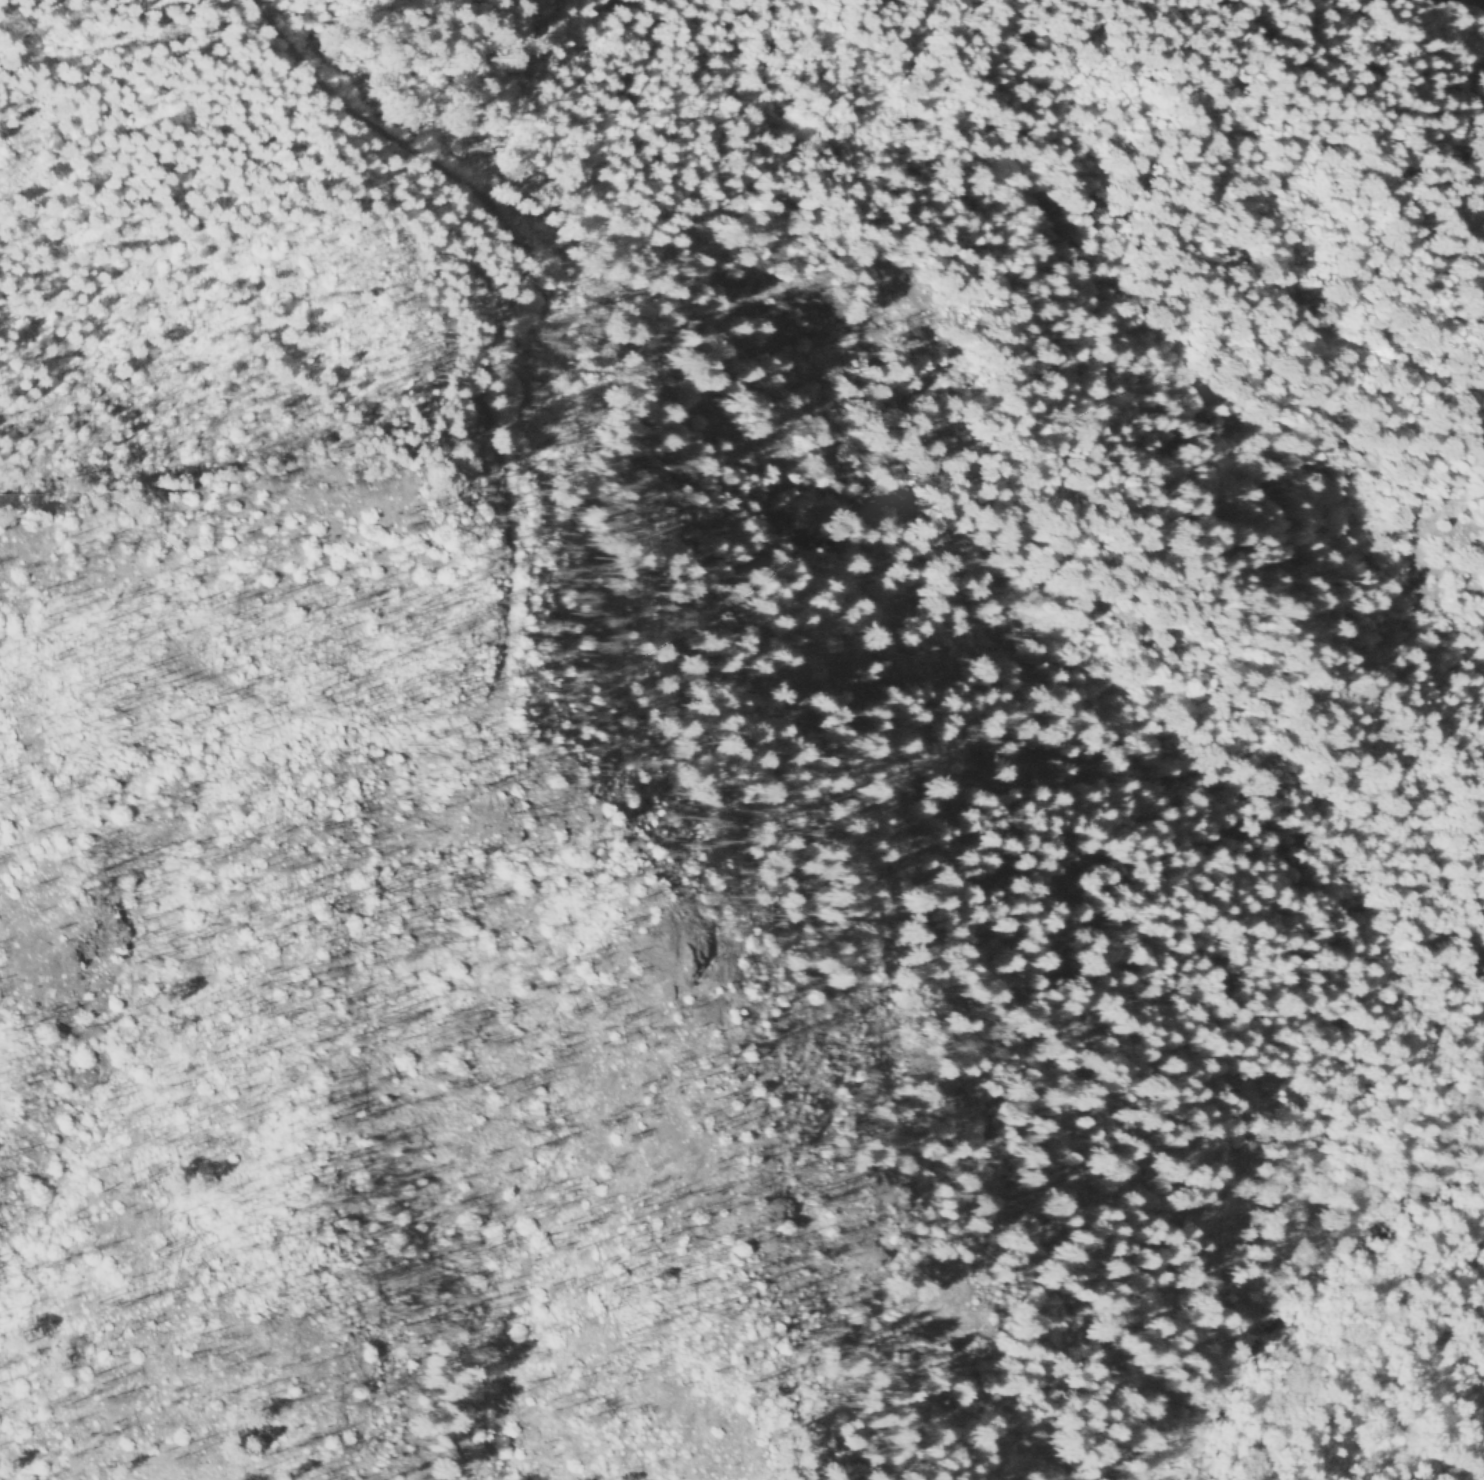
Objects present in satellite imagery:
road: (1375, 1391)

